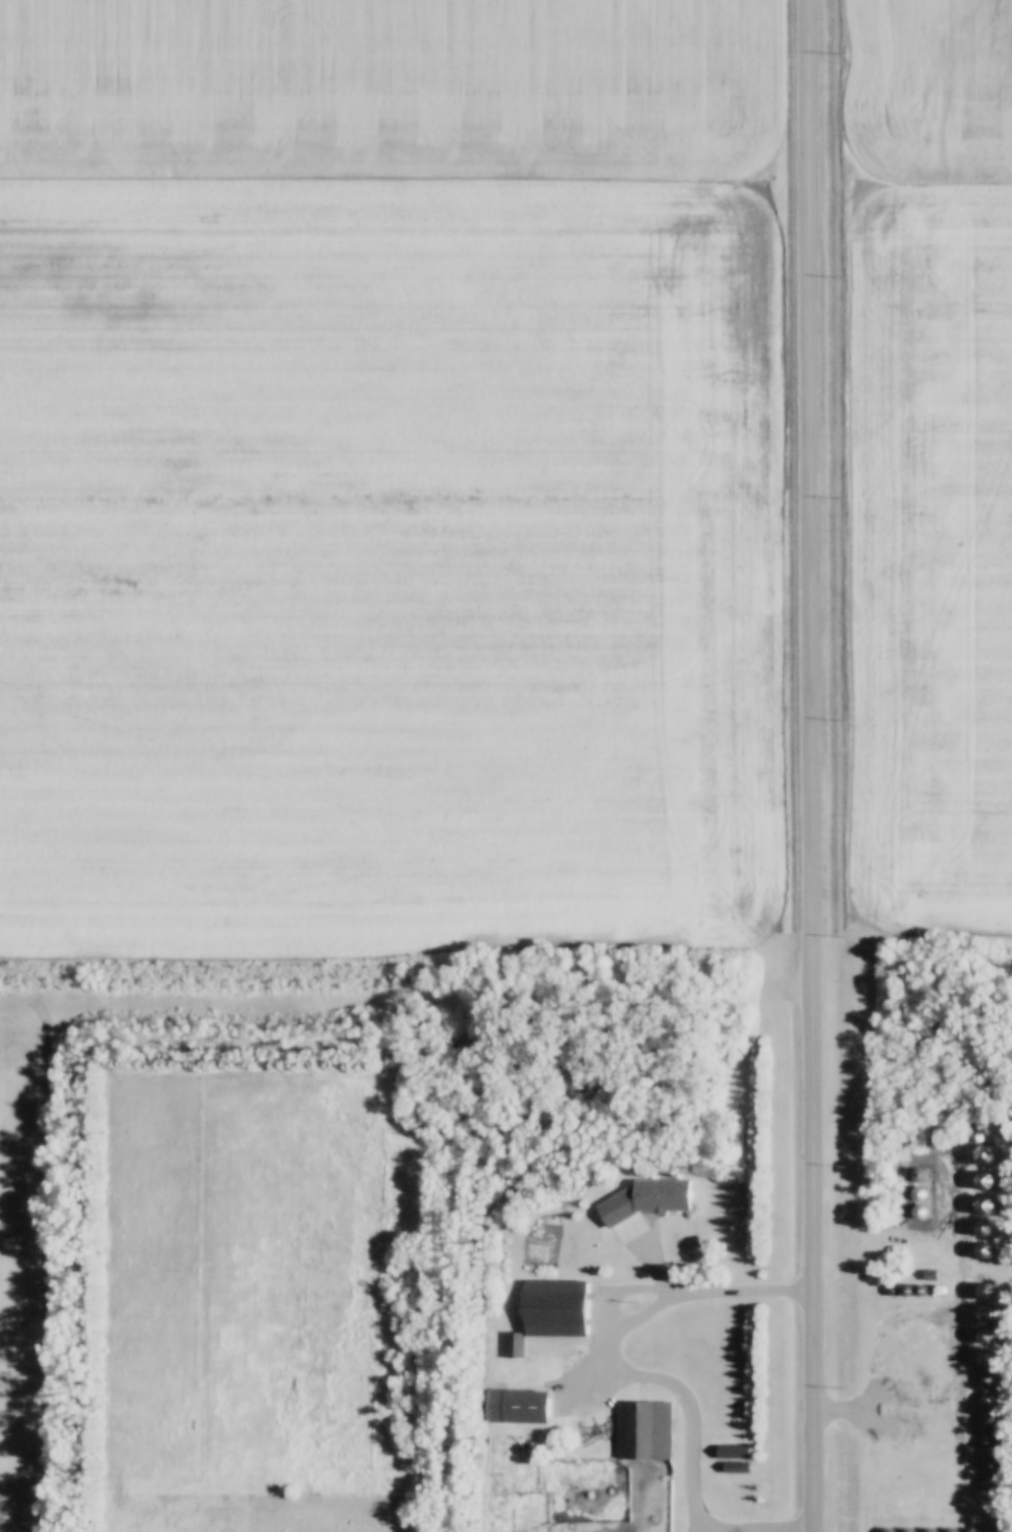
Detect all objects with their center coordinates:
road: (811, 766)
building: (650, 1198)
building: (558, 1308)
building: (516, 1345)
building: (961, 1356)
road: (654, 1373)
building: (529, 1407)
building: (644, 1430)
building: (987, 1442)
building: (735, 1451)
building: (988, 1463)
building: (886, 1530)
building: (908, 1530)

